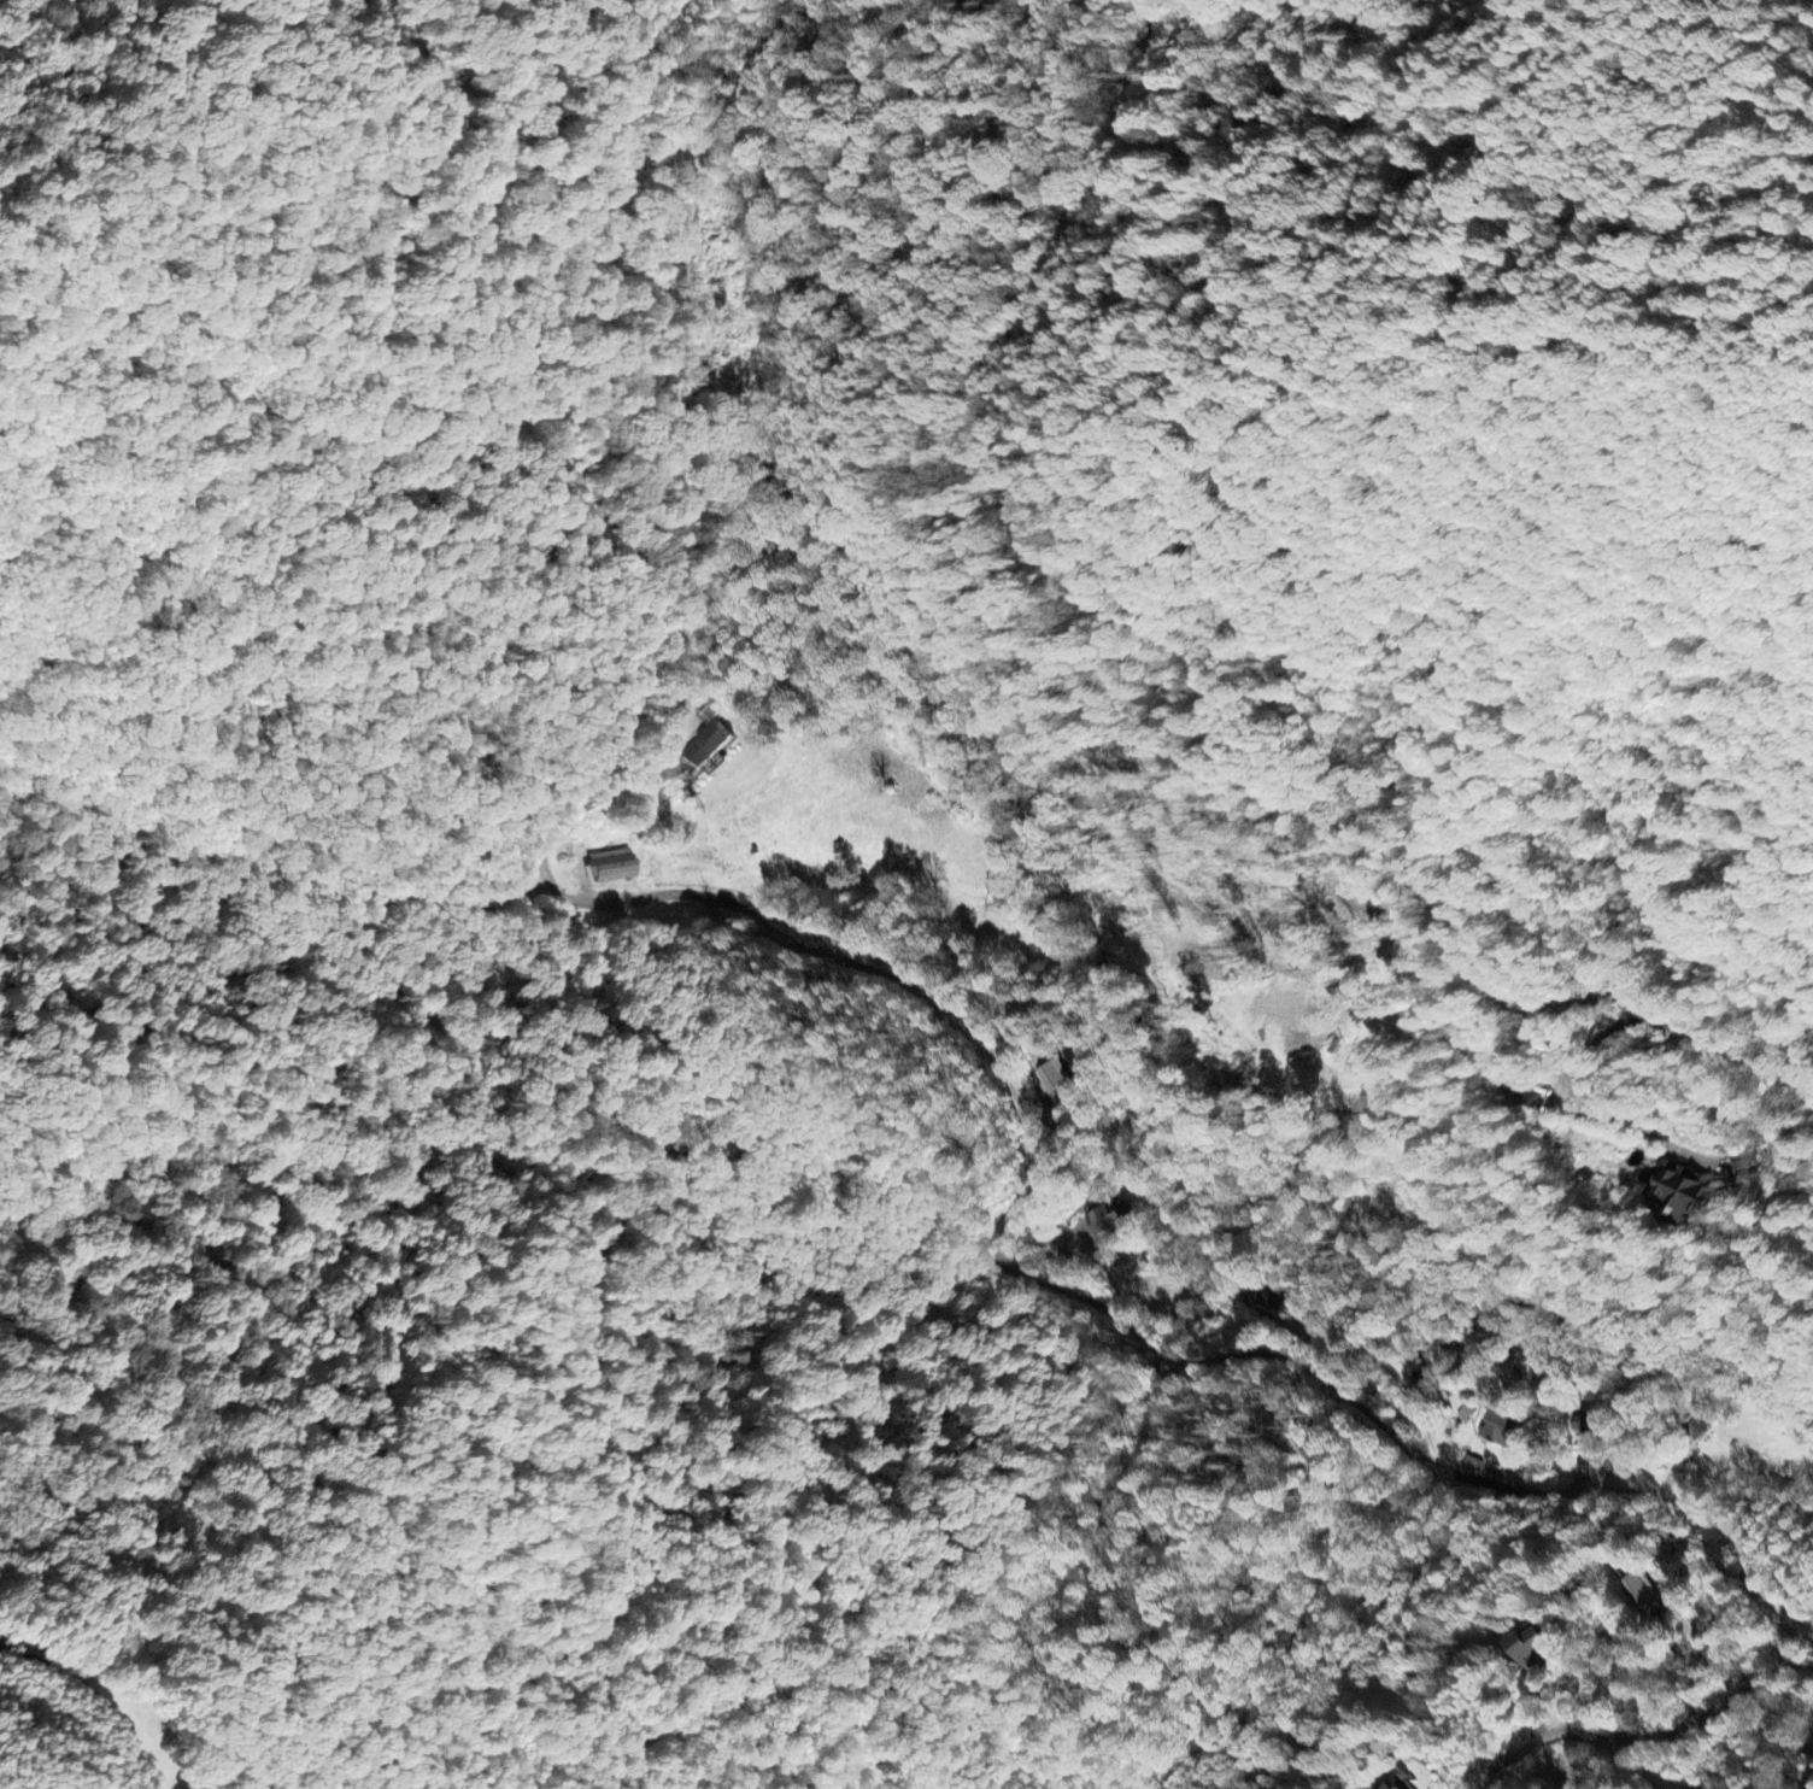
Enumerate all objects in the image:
road: (514, 316)
road: (1202, 640)
building: (705, 746)
building: (620, 869)
building: (1055, 1077)
building: (1508, 1084)
building: (1684, 1195)
building: (1111, 1220)
building: (1278, 1300)
road: (1122, 1336)
building: (1500, 1430)
building: (1531, 1647)
road: (95, 1696)
road: (1648, 1735)
building: (1398, 1784)

